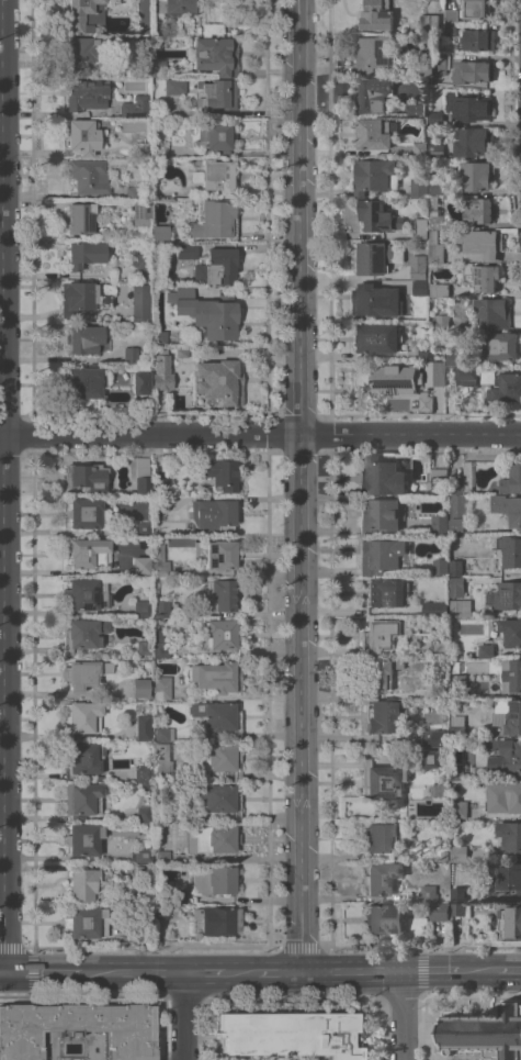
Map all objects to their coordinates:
building: (174, 5)
building: (475, 9)
building: (84, 14)
building: (376, 15)
building: (451, 15)
building: (143, 16)
building: (430, 21)
building: (451, 29)
building: (477, 40)
building: (78, 52)
building: (373, 54)
building: (144, 55)
building: (215, 55)
building: (441, 64)
building: (158, 67)
building: (426, 67)
building: (473, 70)
building: (431, 79)
building: (174, 86)
building: (86, 93)
building: (216, 93)
building: (374, 93)
building: (135, 104)
building: (471, 108)
building: (417, 109)
building: (434, 116)
building: (373, 133)
building: (81, 136)
building: (215, 137)
building: (473, 141)
building: (141, 149)
building: (159, 149)
building: (420, 149)
building: (435, 152)
building: (216, 175)
building: (89, 176)
building: (372, 176)
building: (476, 176)
building: (418, 187)
building: (437, 187)
building: (155, 189)
building: (132, 192)
building: (432, 202)
building: (478, 210)
building: (139, 213)
building: (377, 216)
building: (80, 217)
building: (214, 219)
building: (434, 219)
building: (421, 228)
building: (159, 233)
building: (482, 243)
building: (434, 248)
building: (186, 250)
building: (84, 253)
building: (374, 257)
building: (139, 263)
building: (216, 267)
building: (419, 269)
building: (484, 277)
building: (419, 288)
building: (439, 290)
building: (81, 297)
building: (370, 299)
building: (139, 301)
building: (206, 313)
building: (492, 313)
building: (442, 323)
building: (159, 336)
building: (84, 338)
building: (377, 338)
building: (501, 346)
building: (129, 354)
building: (159, 354)
building: (426, 354)
building: (453, 358)
building: (440, 359)
building: (434, 373)
building: (465, 375)
building: (160, 376)
building: (486, 376)
building: (396, 379)
building: (84, 381)
building: (141, 382)
building: (217, 386)
building: (506, 388)
building: (362, 400)
building: (426, 402)
building: (144, 404)
road: (260, 434)
building: (219, 473)
building: (86, 476)
building: (143, 477)
building: (380, 477)
building: (438, 480)
building: (463, 480)
building: (512, 480)
road: (2, 484)
road: (298, 484)
building: (160, 486)
building: (160, 503)
building: (507, 510)
building: (84, 512)
building: (213, 514)
building: (458, 514)
building: (378, 515)
building: (439, 522)
building: (161, 523)
building: (143, 528)
building: (510, 549)
building: (88, 553)
building: (220, 555)
building: (382, 557)
building: (159, 559)
building: (140, 565)
building: (440, 567)
building: (455, 568)
building: (456, 587)
building: (385, 592)
building: (222, 593)
building: (84, 594)
building: (508, 594)
building: (143, 606)
building: (161, 607)
building: (433, 609)
building: (460, 609)
building: (510, 632)
building: (83, 634)
building: (220, 634)
building: (380, 636)
building: (478, 637)
building: (160, 645)
building: (144, 647)
building: (439, 647)
building: (487, 650)
building: (84, 672)
building: (385, 673)
building: (512, 676)
building: (216, 677)
building: (456, 680)
building: (438, 683)
building: (161, 687)
building: (139, 688)
building: (509, 714)
building: (217, 716)
building: (383, 716)
building: (81, 717)
building: (456, 726)
building: (143, 727)
building: (162, 733)
building: (434, 738)
building: (116, 746)
building: (507, 755)
building: (214, 757)
building: (431, 758)
building: (81, 759)
building: (161, 761)
building: (143, 772)
building: (457, 772)
building: (443, 780)
building: (384, 782)
building: (145, 785)
building: (510, 796)
building: (218, 797)
building: (82, 800)
building: (460, 811)
building: (144, 813)
building: (510, 835)
building: (381, 837)
building: (211, 838)
building: (82, 839)
building: (140, 853)
building: (458, 853)
building: (444, 856)
building: (161, 857)
building: (143, 873)
building: (508, 877)
building: (381, 879)
building: (214, 880)
building: (86, 884)
building: (162, 892)
building: (428, 893)
building: (458, 894)
building: (457, 908)
building: (439, 911)
building: (161, 913)
building: (146, 914)
building: (385, 918)
building: (219, 920)
building: (86, 922)
building: (510, 922)
road: (508, 969)
road: (2, 970)
traffic signals: (4, 970)
road: (44, 970)
road: (132, 970)
road: (206, 970)
road: (268, 970)
road: (350, 970)
road: (446, 970)
road: (400, 1014)
road: (180, 1015)
building: (77, 1028)
building: (485, 1033)
building: (291, 1034)

